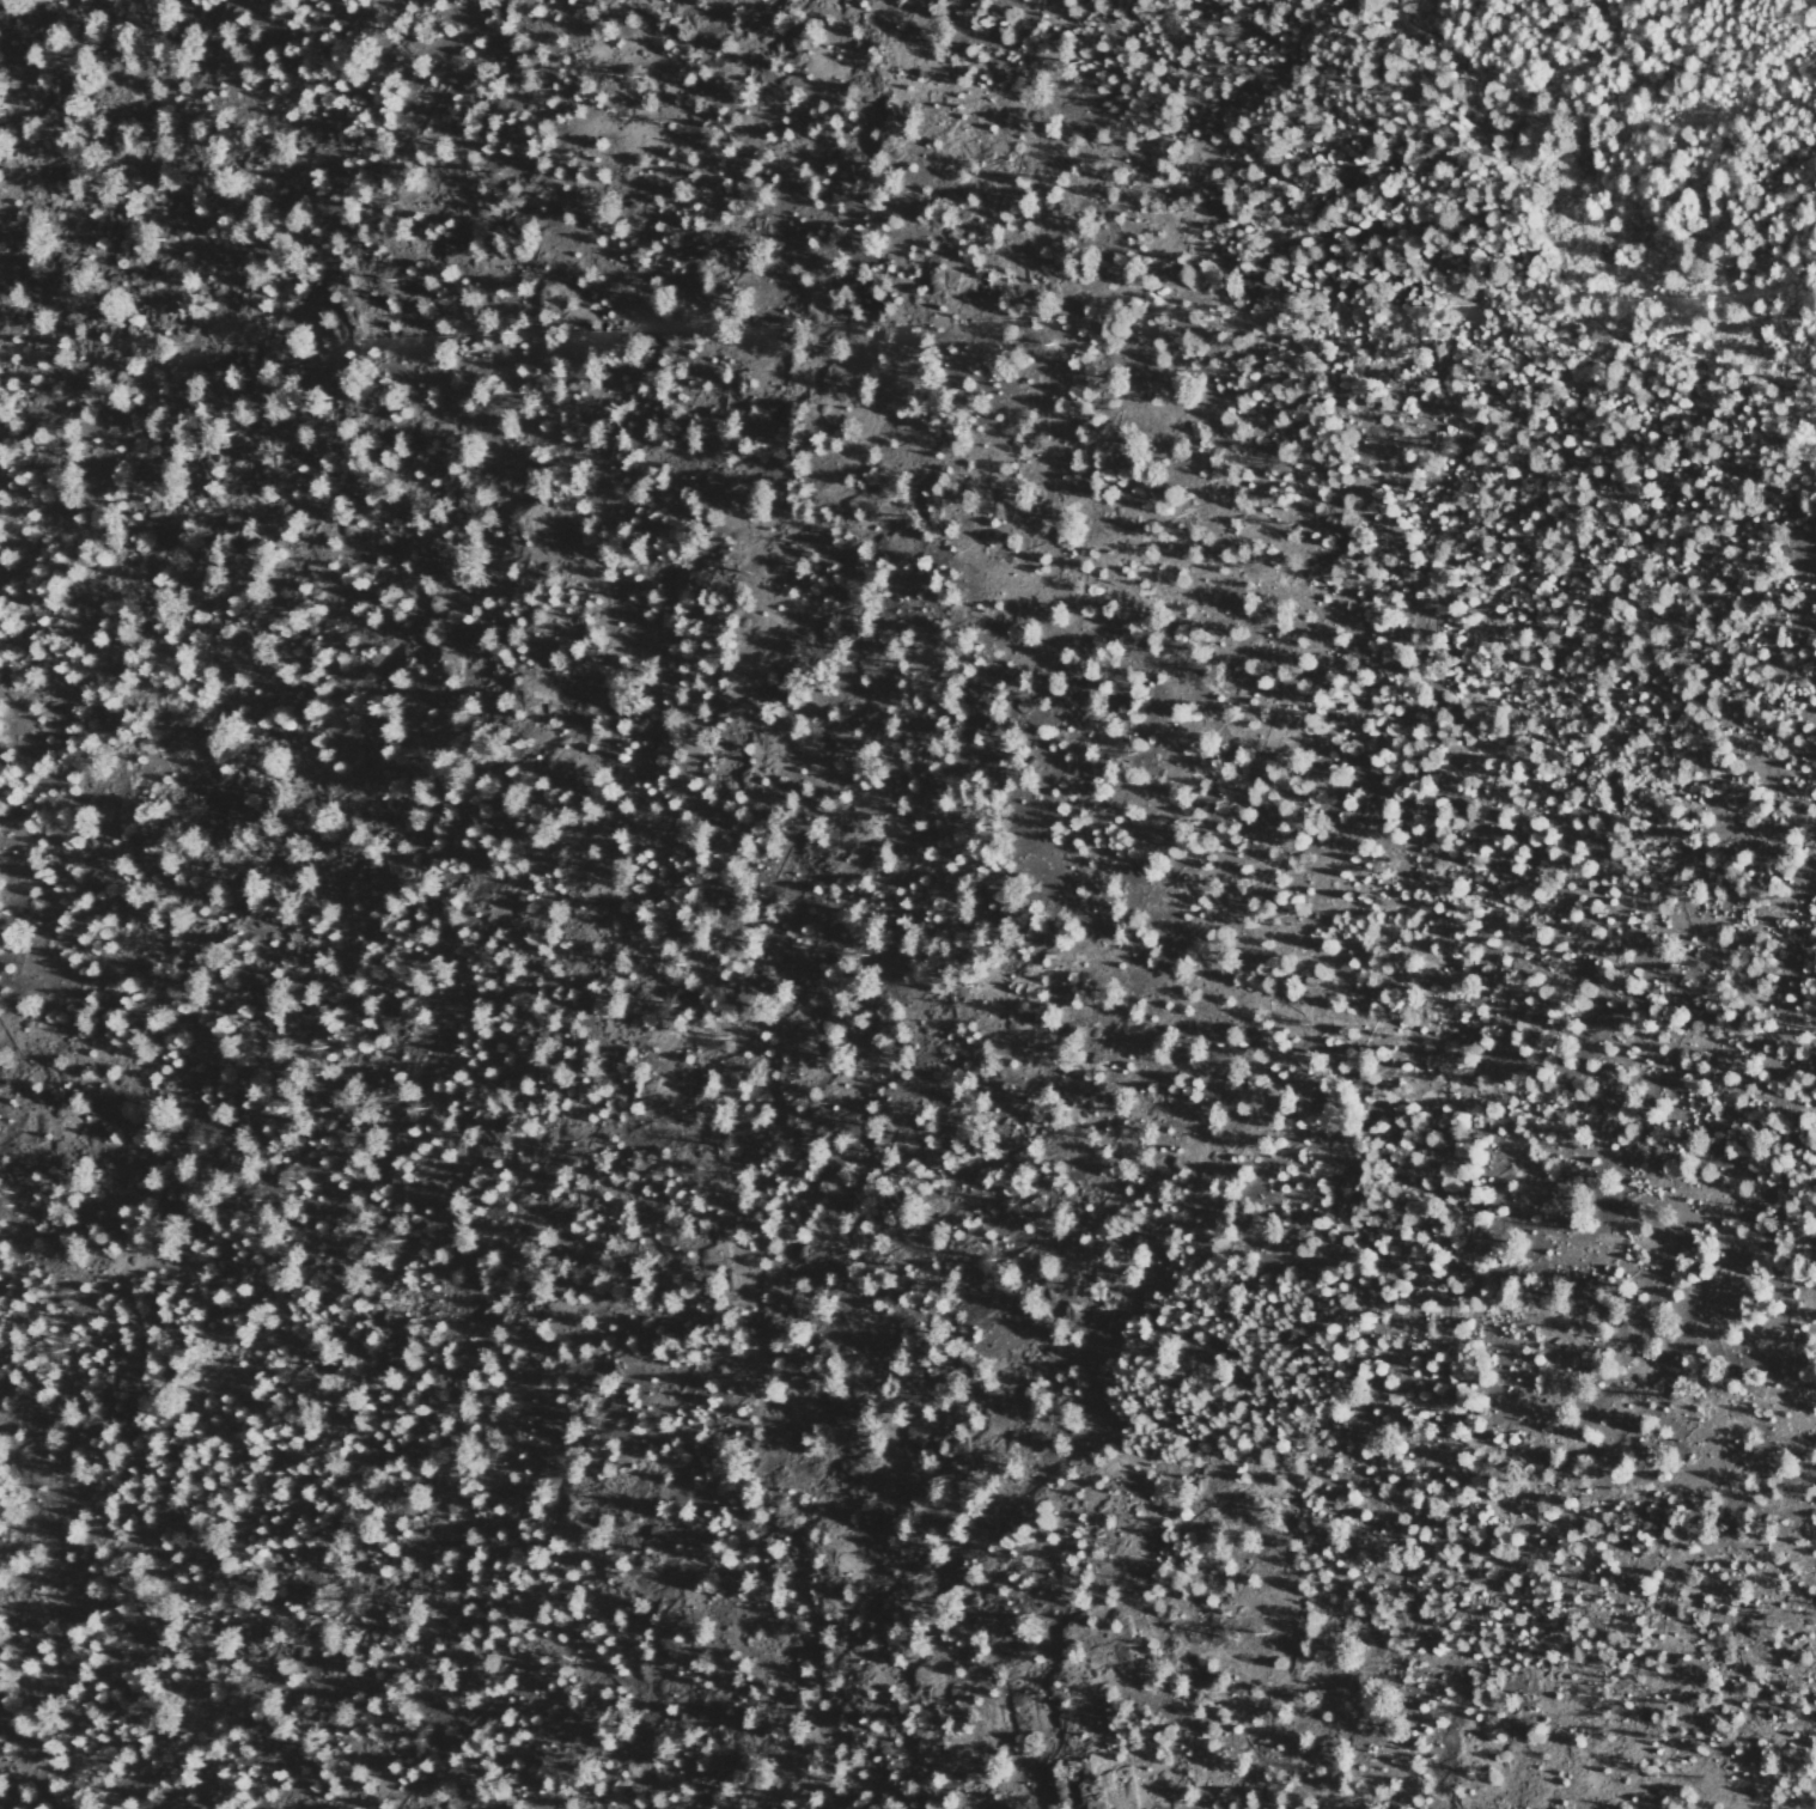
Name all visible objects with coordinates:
road: (1814, 1)

